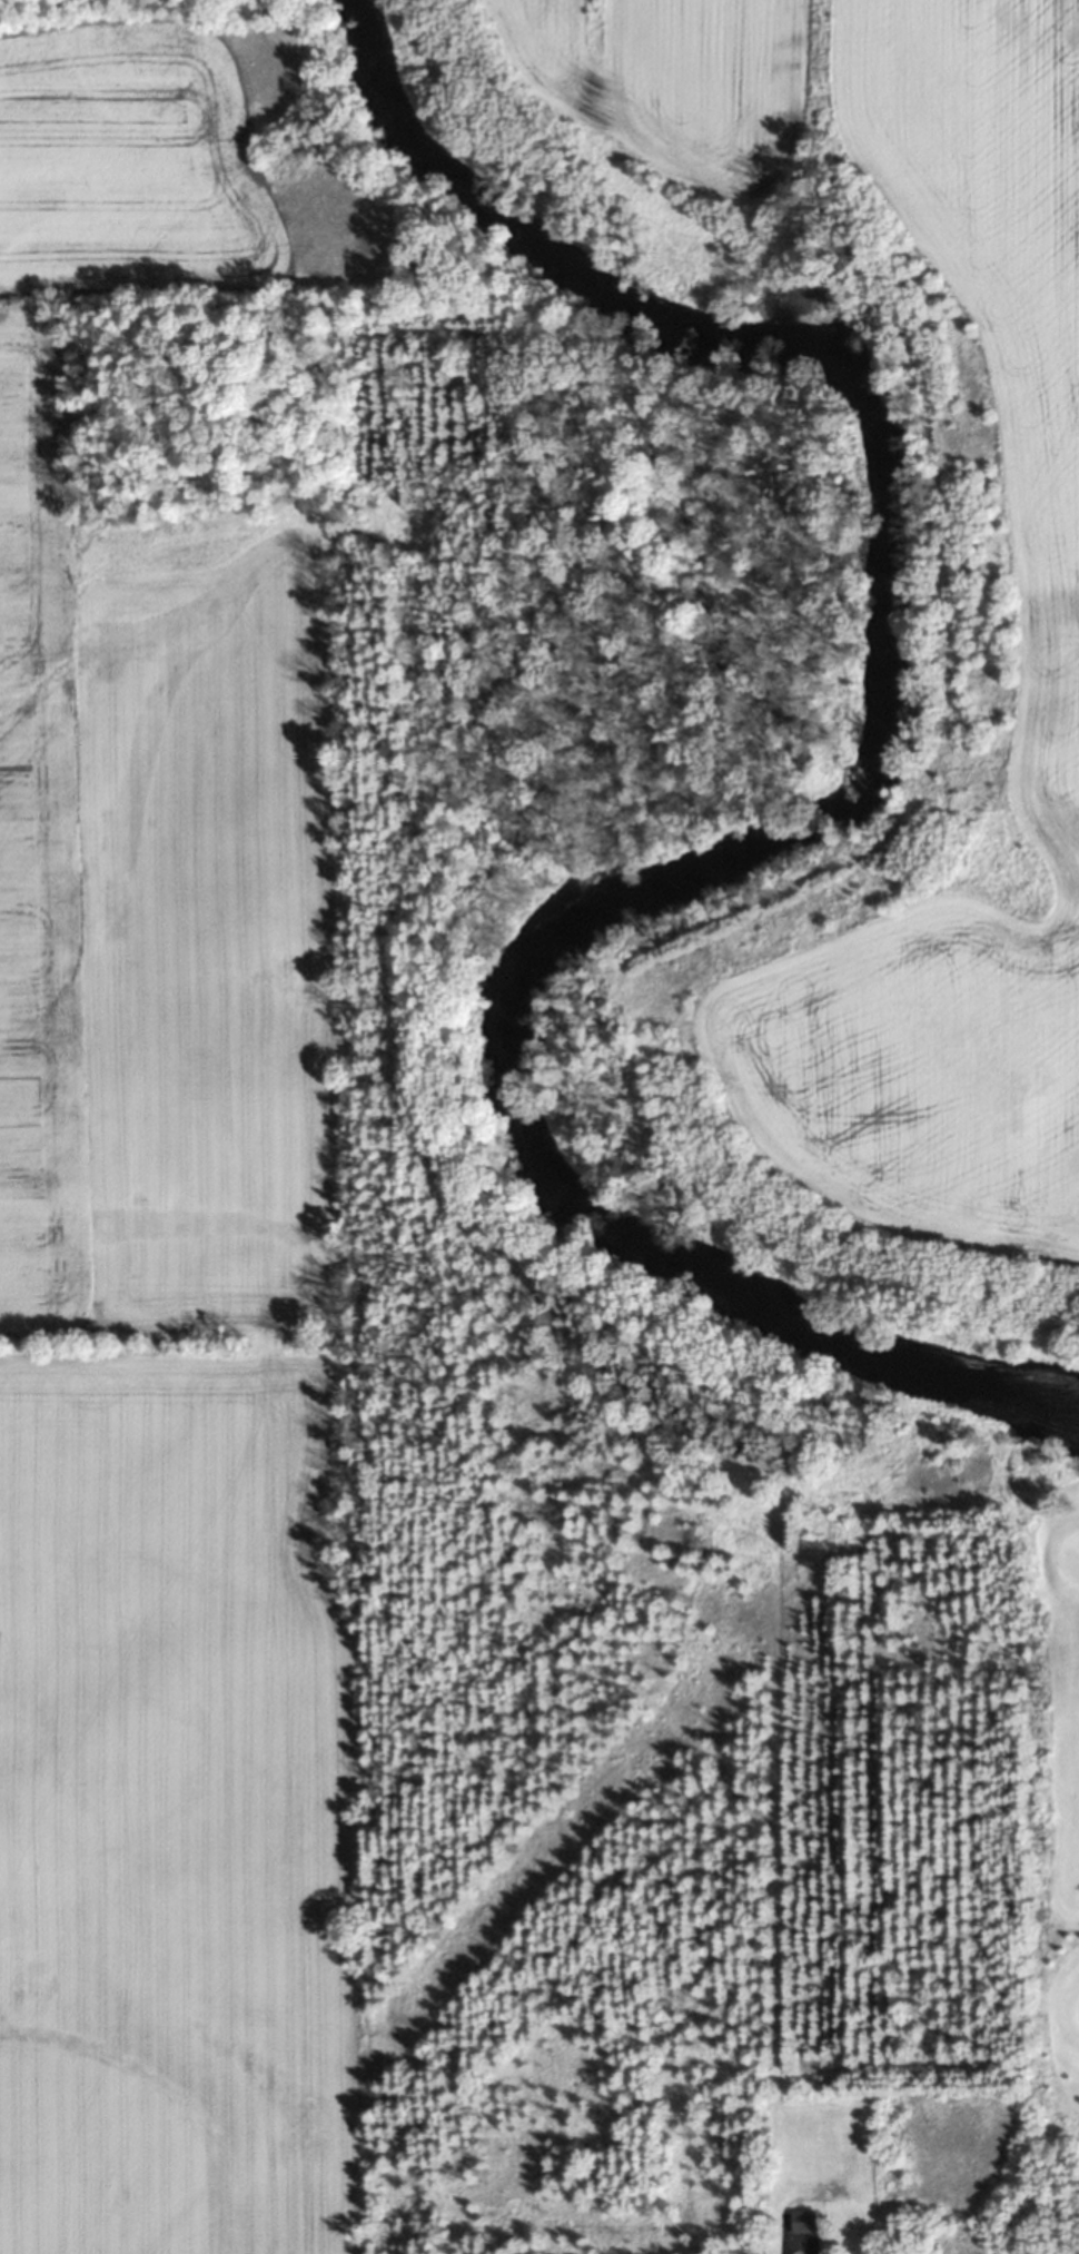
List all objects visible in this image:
river: (796, 805)
park: (1053, 1860)
building: (802, 2221)

